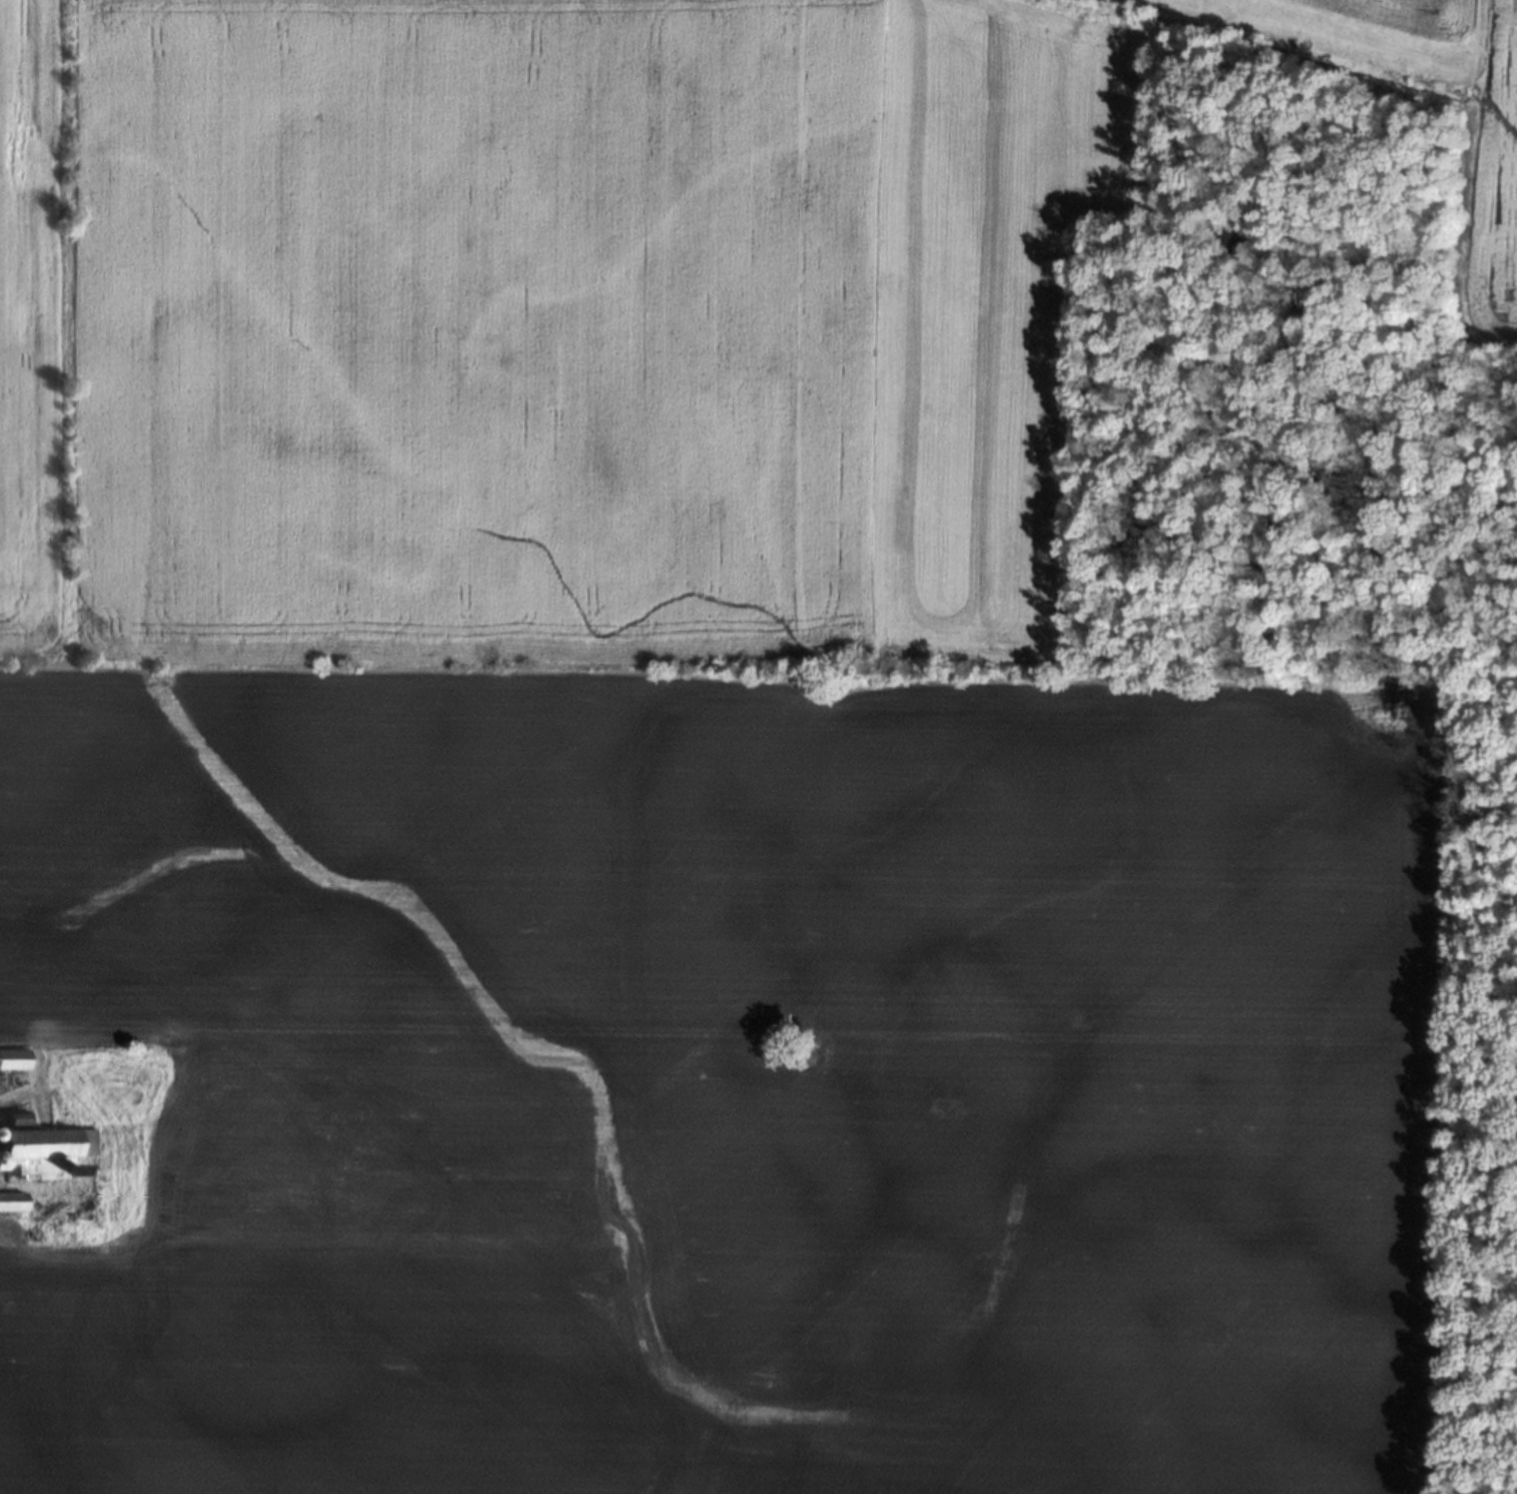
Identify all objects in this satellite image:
crop: (23, 323)
building: (17, 1059)
building: (50, 1145)
building: (16, 1201)

